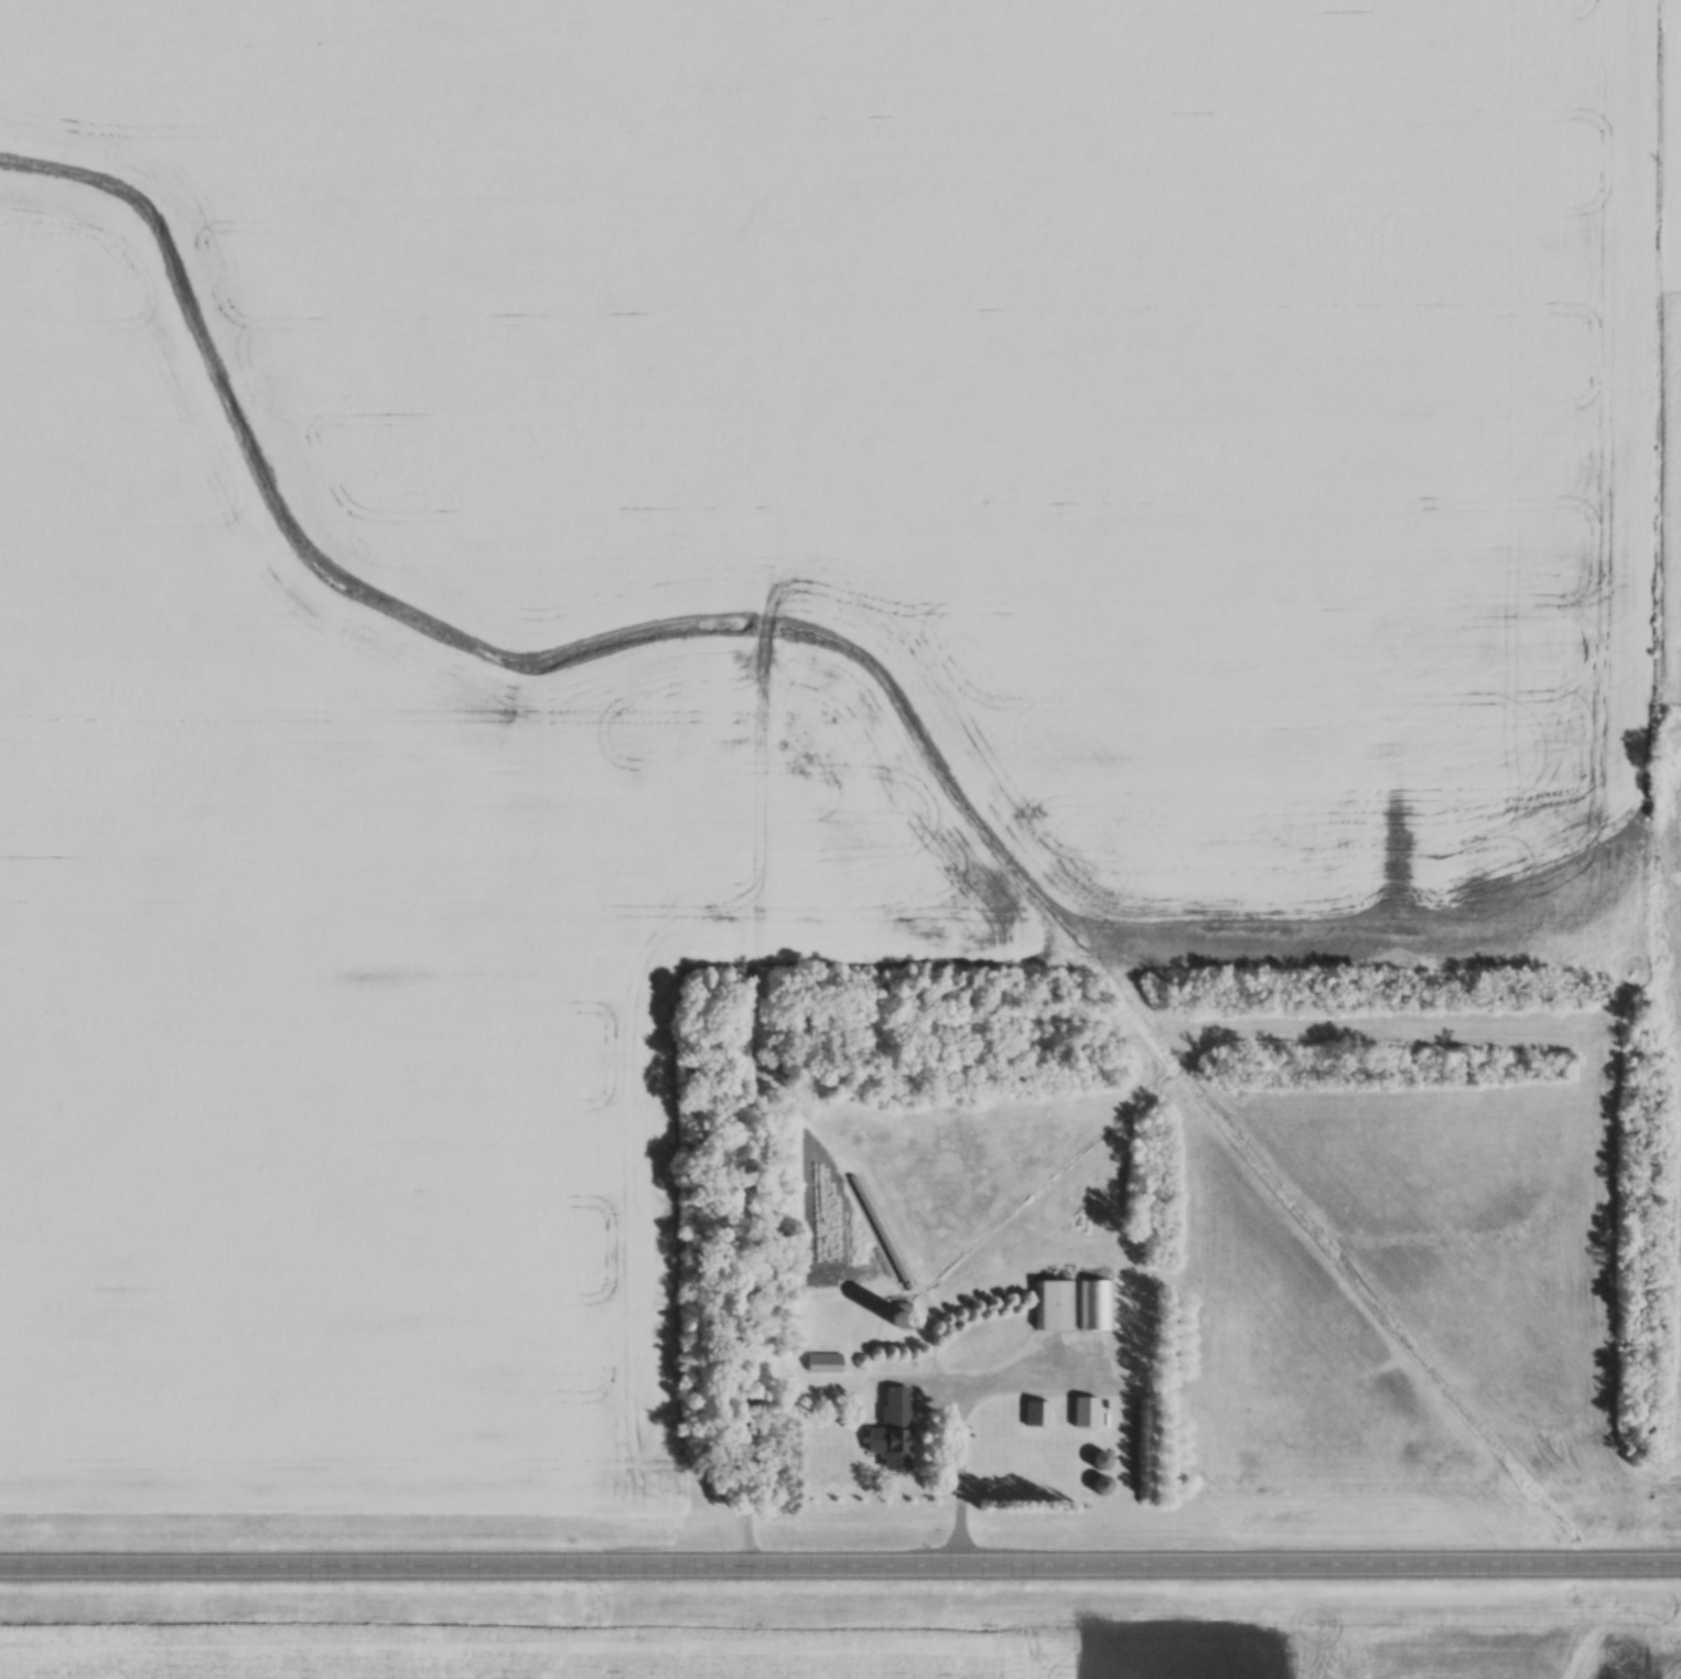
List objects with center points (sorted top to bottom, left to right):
building: (1054, 1307)
building: (1097, 1307)
building: (1122, 1370)
building: (1087, 1414)
building: (1038, 1416)
building: (898, 1428)
building: (1104, 1463)
building: (1104, 1487)
road: (840, 1565)

